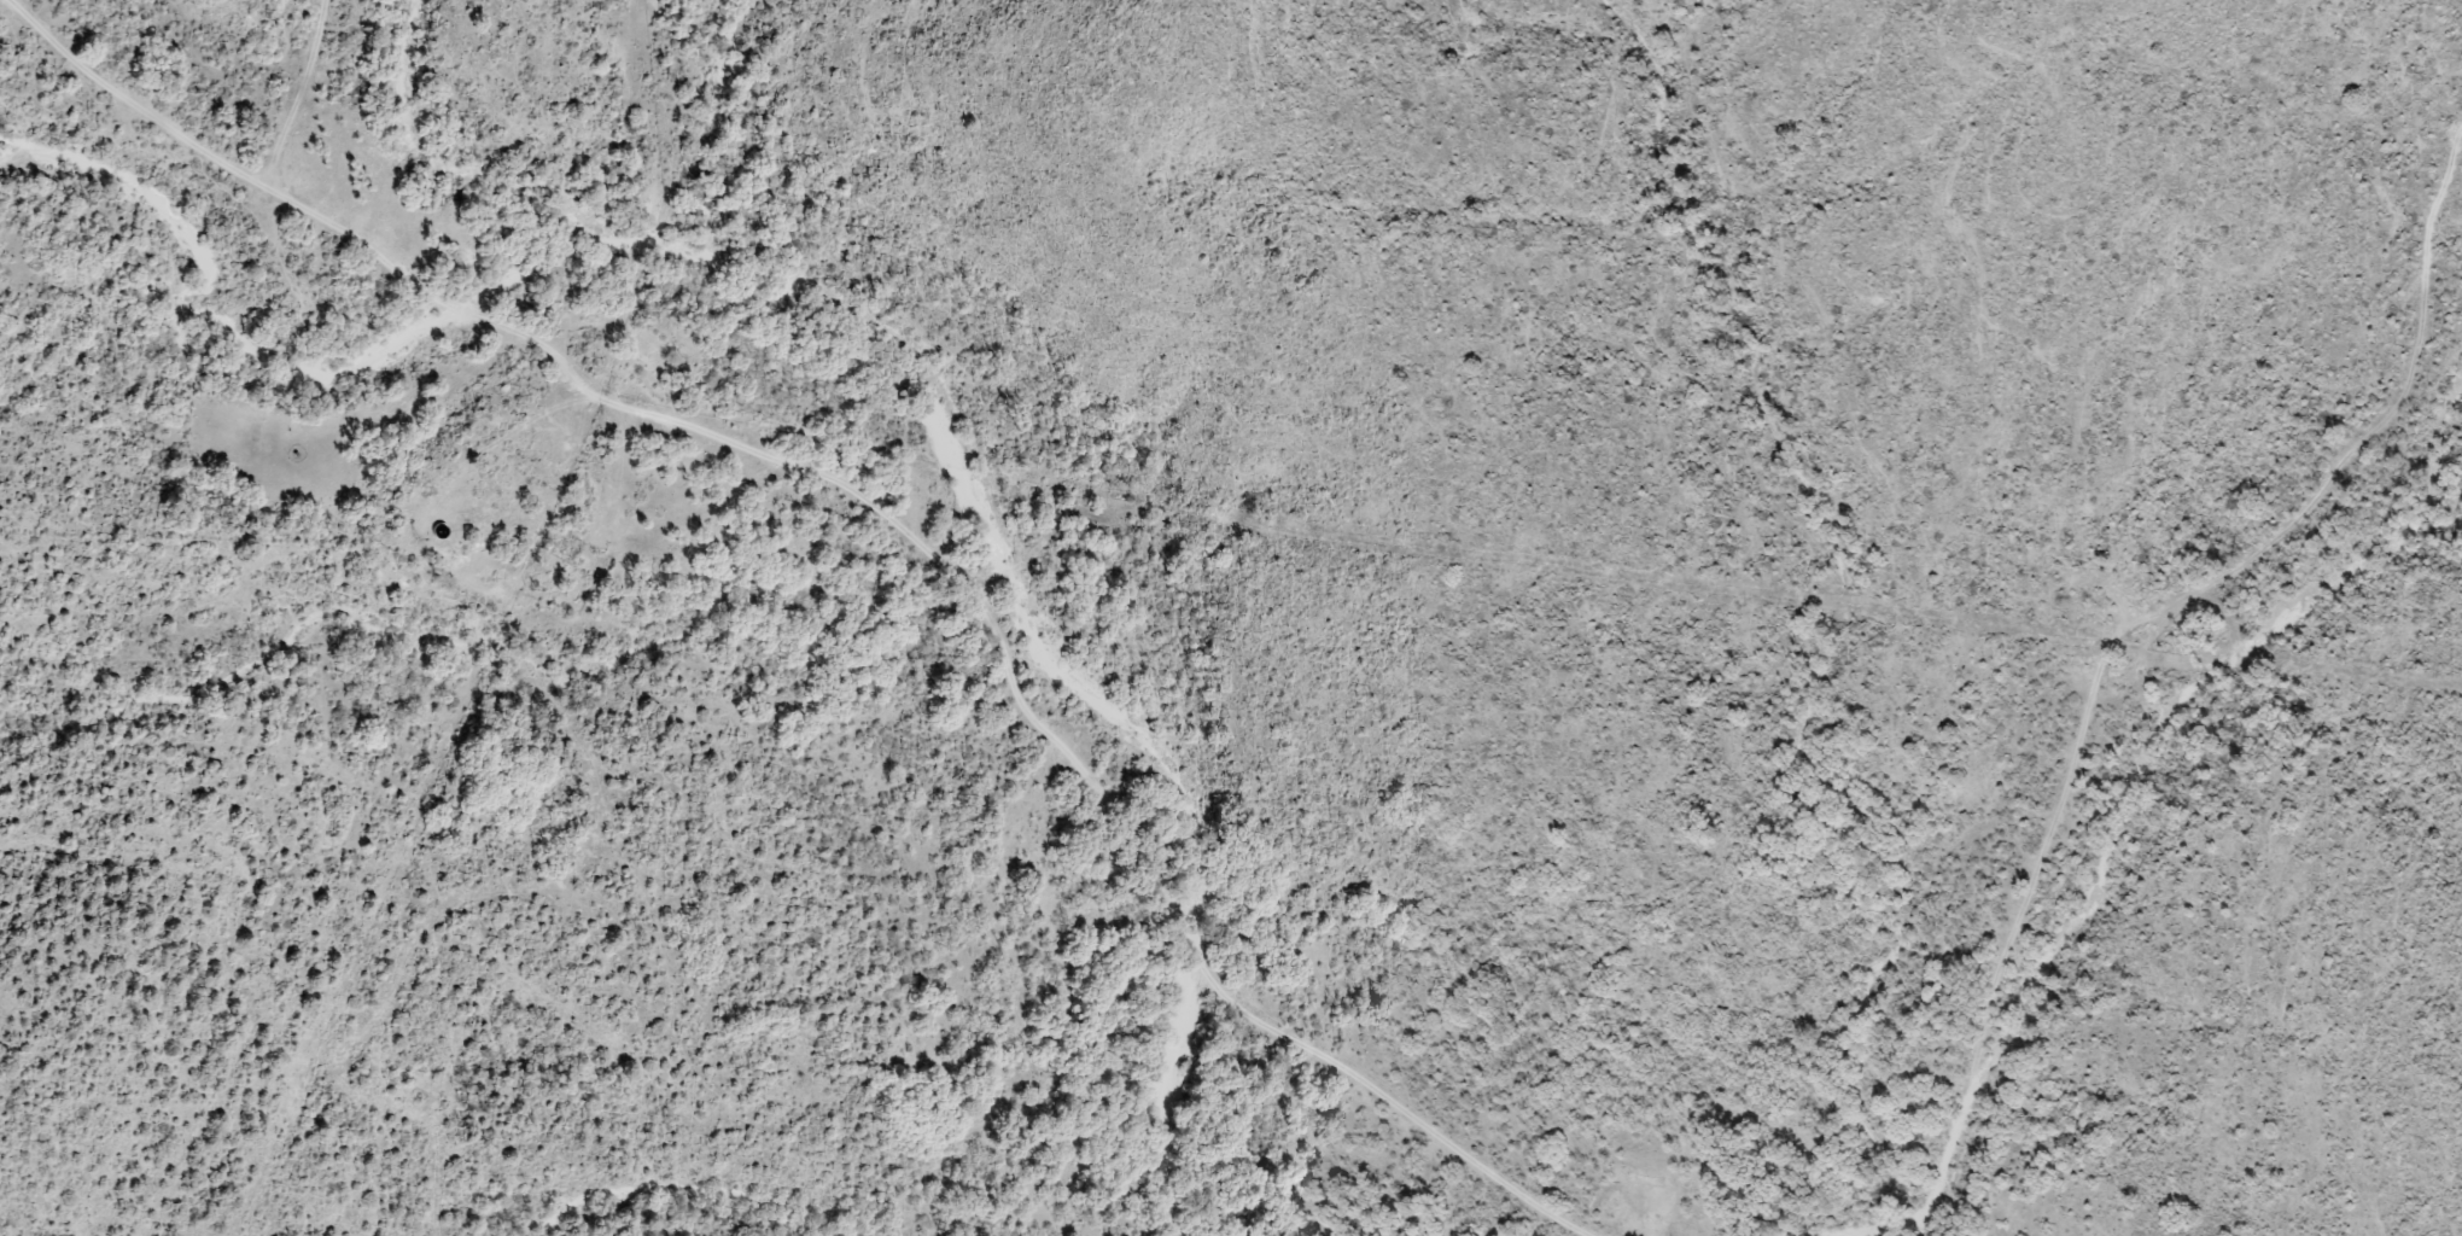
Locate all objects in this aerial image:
road: (294, 92)
road: (886, 517)
road: (2135, 642)

